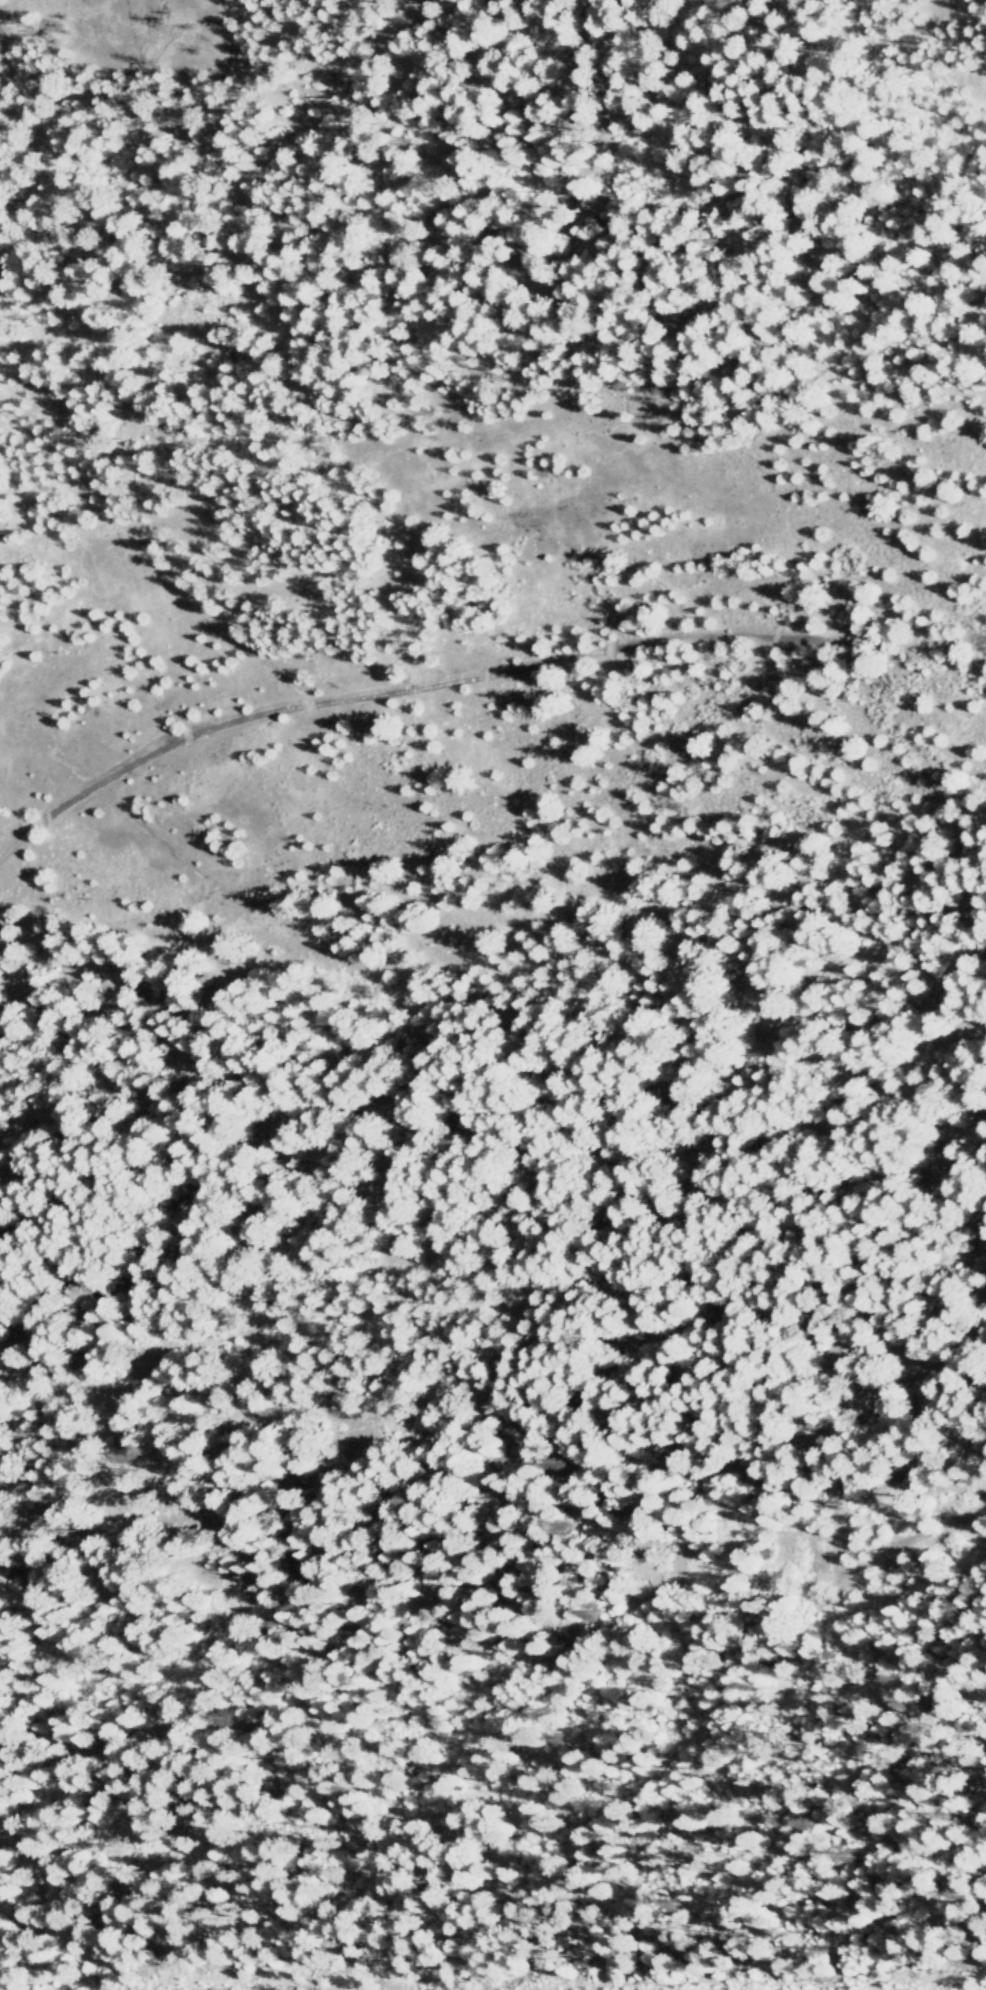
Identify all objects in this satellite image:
road: (472, 679)
road: (934, 1530)

